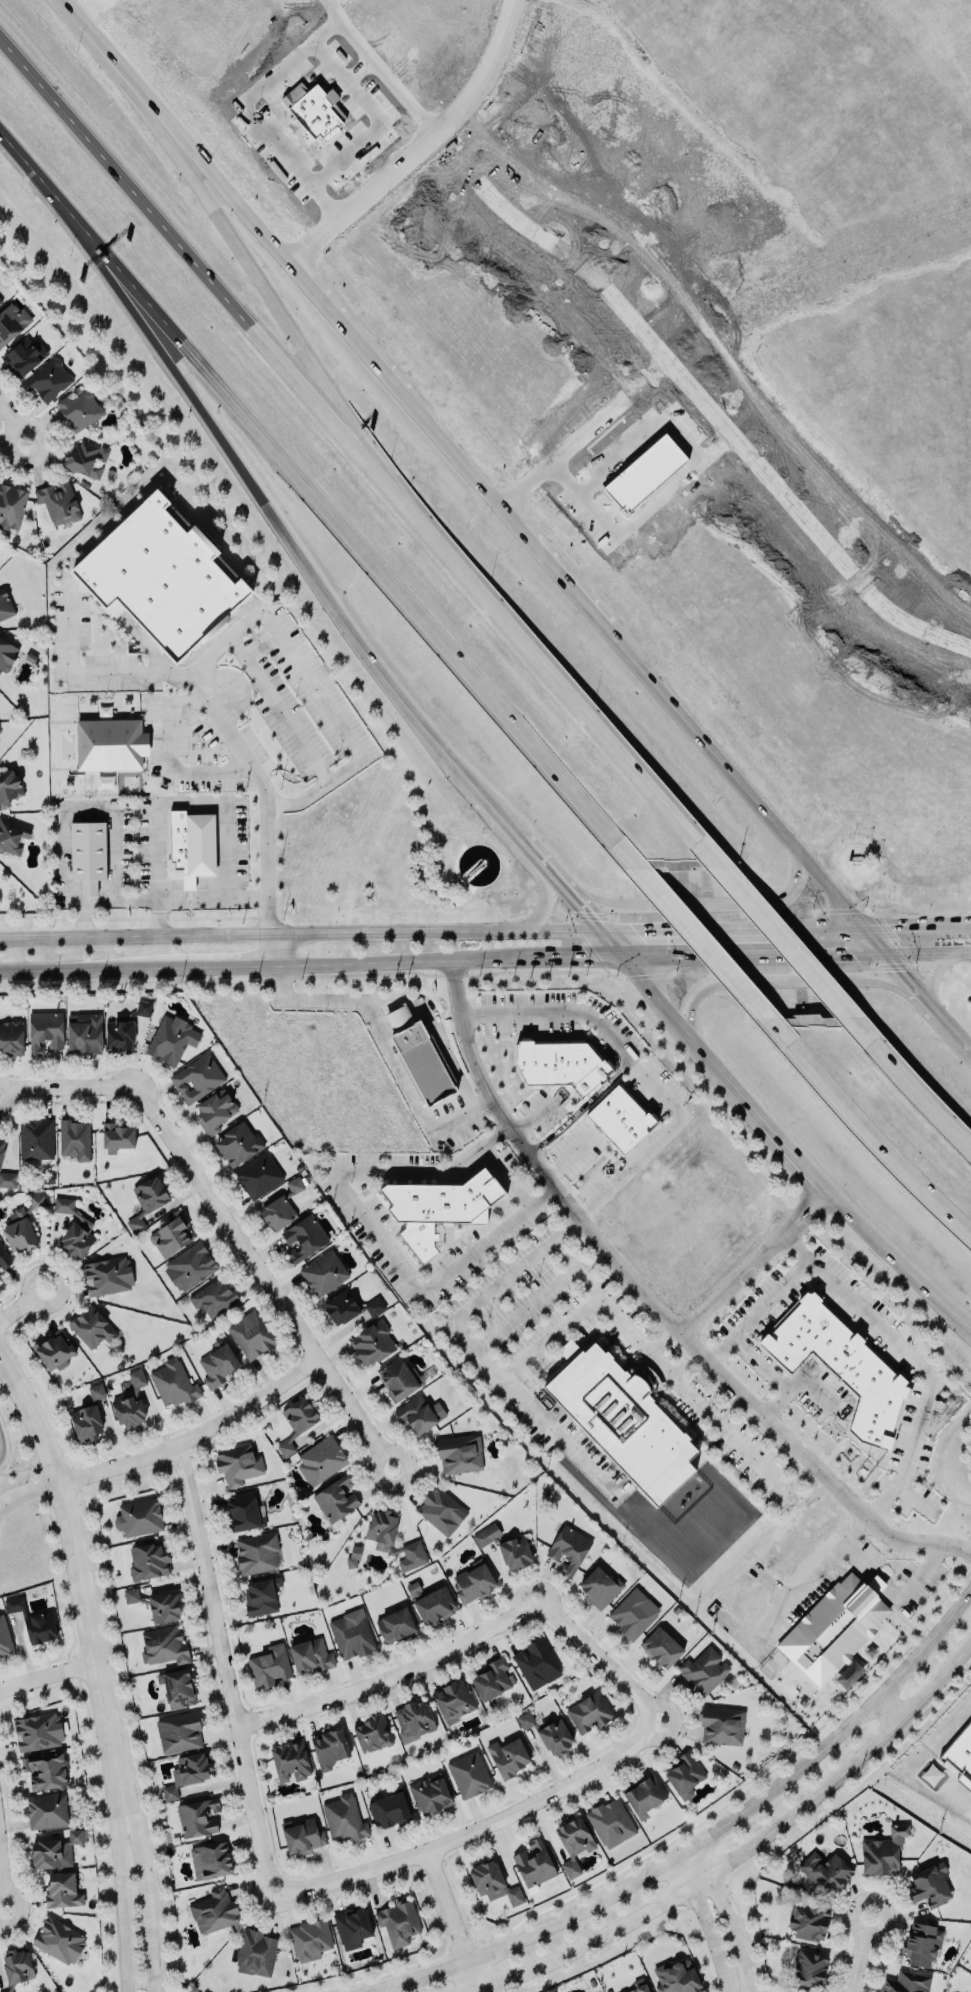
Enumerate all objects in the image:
road: (66, 3)
road: (378, 66)
road: (358, 69)
road: (246, 110)
road: (376, 115)
road: (178, 134)
road: (416, 146)
road: (39, 178)
road: (398, 216)
road: (456, 216)
road: (230, 248)
road: (369, 248)
road: (196, 265)
building: (0, 300)
building: (12, 322)
road: (343, 327)
building: (23, 358)
building: (50, 380)
road: (587, 381)
road: (698, 396)
building: (80, 408)
road: (11, 426)
road: (581, 432)
road: (536, 448)
road: (449, 449)
building: (86, 459)
building: (59, 501)
building: (12, 505)
road: (588, 507)
road: (266, 517)
road: (348, 532)
road: (551, 567)
building: (163, 576)
building: (5, 603)
building: (7, 652)
road: (546, 667)
road: (79, 671)
road: (318, 692)
road: (279, 709)
building: (110, 744)
road: (243, 749)
road: (169, 757)
building: (9, 787)
road: (745, 790)
road: (173, 802)
road: (502, 816)
building: (12, 835)
building: (187, 843)
building: (88, 853)
road: (537, 855)
road: (63, 887)
road: (543, 887)
road: (573, 899)
road: (690, 902)
road: (83, 915)
road: (902, 919)
traffic signals: (856, 921)
road: (714, 925)
traffic signals: (595, 928)
road: (297, 929)
road: (706, 942)
road: (787, 942)
road: (269, 946)
road: (928, 951)
traffic signals: (886, 953)
road: (774, 954)
road: (642, 955)
traffic signals: (622, 956)
road: (569, 957)
road: (392, 960)
road: (237, 963)
road: (102, 966)
road: (931, 970)
road: (787, 978)
road: (907, 978)
road: (226, 980)
building: (144, 1008)
road: (934, 1008)
building: (45, 1029)
road: (434, 1029)
road: (955, 1030)
building: (84, 1031)
building: (121, 1033)
building: (12, 1036)
building: (172, 1038)
road: (386, 1040)
building: (420, 1055)
building: (560, 1063)
road: (640, 1068)
building: (197, 1076)
road: (921, 1096)
building: (217, 1111)
road: (533, 1115)
building: (621, 1117)
road: (776, 1133)
building: (117, 1136)
building: (36, 1137)
building: (75, 1138)
road: (879, 1140)
building: (238, 1142)
building: (1, 1149)
road: (569, 1156)
building: (259, 1174)
road: (505, 1174)
building: (8, 1178)
building: (295, 1184)
building: (147, 1200)
building: (36, 1201)
building: (439, 1206)
building: (278, 1213)
road: (222, 1226)
road: (375, 1228)
building: (74, 1229)
building: (19, 1231)
building: (171, 1233)
building: (305, 1237)
building: (4, 1257)
road: (754, 1260)
building: (190, 1265)
building: (324, 1272)
building: (108, 1274)
building: (214, 1296)
road: (21, 1303)
road: (528, 1304)
road: (658, 1304)
building: (350, 1305)
road: (758, 1308)
building: (91, 1326)
road: (554, 1333)
building: (253, 1334)
road: (666, 1339)
building: (372, 1343)
road: (481, 1347)
building: (54, 1350)
road: (914, 1358)
road: (686, 1361)
building: (218, 1363)
building: (840, 1364)
road: (777, 1374)
building: (399, 1378)
road: (679, 1378)
building: (174, 1382)
road: (230, 1400)
building: (131, 1401)
building: (416, 1413)
building: (301, 1414)
building: (88, 1415)
building: (622, 1418)
road: (190, 1433)
road: (3, 1444)
road: (410, 1444)
building: (286, 1446)
building: (460, 1452)
building: (322, 1461)
building: (238, 1463)
road: (17, 1470)
road: (173, 1484)
road: (25, 1490)
building: (337, 1497)
building: (442, 1510)
building: (244, 1511)
building: (139, 1516)
building: (383, 1529)
building: (488, 1534)
building: (569, 1547)
building: (515, 1550)
building: (257, 1553)
road: (58, 1554)
building: (413, 1555)
building: (354, 1557)
building: (148, 1560)
road: (77, 1569)
road: (968, 1571)
road: (807, 1581)
building: (475, 1582)
building: (876, 1583)
building: (599, 1587)
building: (414, 1588)
road: (895, 1592)
building: (262, 1596)
building: (14, 1603)
building: (434, 1603)
building: (157, 1604)
building: (634, 1613)
building: (396, 1625)
building: (40, 1626)
building: (834, 1628)
building: (352, 1634)
building: (5, 1636)
road: (602, 1641)
building: (164, 1645)
building: (661, 1646)
building: (312, 1654)
road: (603, 1655)
building: (537, 1661)
building: (269, 1665)
road: (217, 1669)
building: (704, 1670)
road: (386, 1672)
road: (47, 1676)
building: (492, 1679)
building: (178, 1687)
road: (33, 1694)
building: (455, 1699)
road: (894, 1705)
building: (589, 1712)
building: (415, 1717)
road: (246, 1722)
building: (722, 1724)
building: (38, 1730)
building: (180, 1730)
building: (549, 1731)
building: (374, 1732)
building: (330, 1746)
building: (961, 1753)
road: (589, 1756)
building: (508, 1757)
building: (290, 1760)
building: (46, 1769)
building: (189, 1771)
building: (470, 1774)
building: (685, 1774)
building: (430, 1794)
building: (645, 1796)
building: (389, 1809)
building: (47, 1810)
road: (711, 1812)
building: (199, 1817)
building: (344, 1818)
road: (811, 1820)
building: (611, 1822)
road: (474, 1829)
building: (303, 1836)
road: (707, 1838)
building: (573, 1841)
building: (54, 1848)
road: (747, 1850)
building: (883, 1850)
building: (211, 1860)
building: (534, 1862)
road: (13, 1863)
road: (695, 1867)
building: (825, 1870)
road: (3, 1877)
building: (494, 1882)
road: (875, 1884)
building: (930, 1885)
road: (147, 1888)
building: (63, 1889)
road: (428, 1889)
road: (121, 1890)
building: (214, 1911)
building: (809, 1919)
road: (453, 1920)
building: (399, 1921)
building: (353, 1927)
road: (734, 1932)
building: (310, 1937)
road: (712, 1937)
building: (59, 1940)
building: (922, 1943)
road: (618, 1944)
road: (462, 1946)
road: (703, 1949)
building: (256, 1952)
road: (856, 1955)
building: (17, 1965)
building: (810, 1967)
road: (387, 1971)
building: (676, 1977)
building: (907, 1982)
building: (638, 1986)

